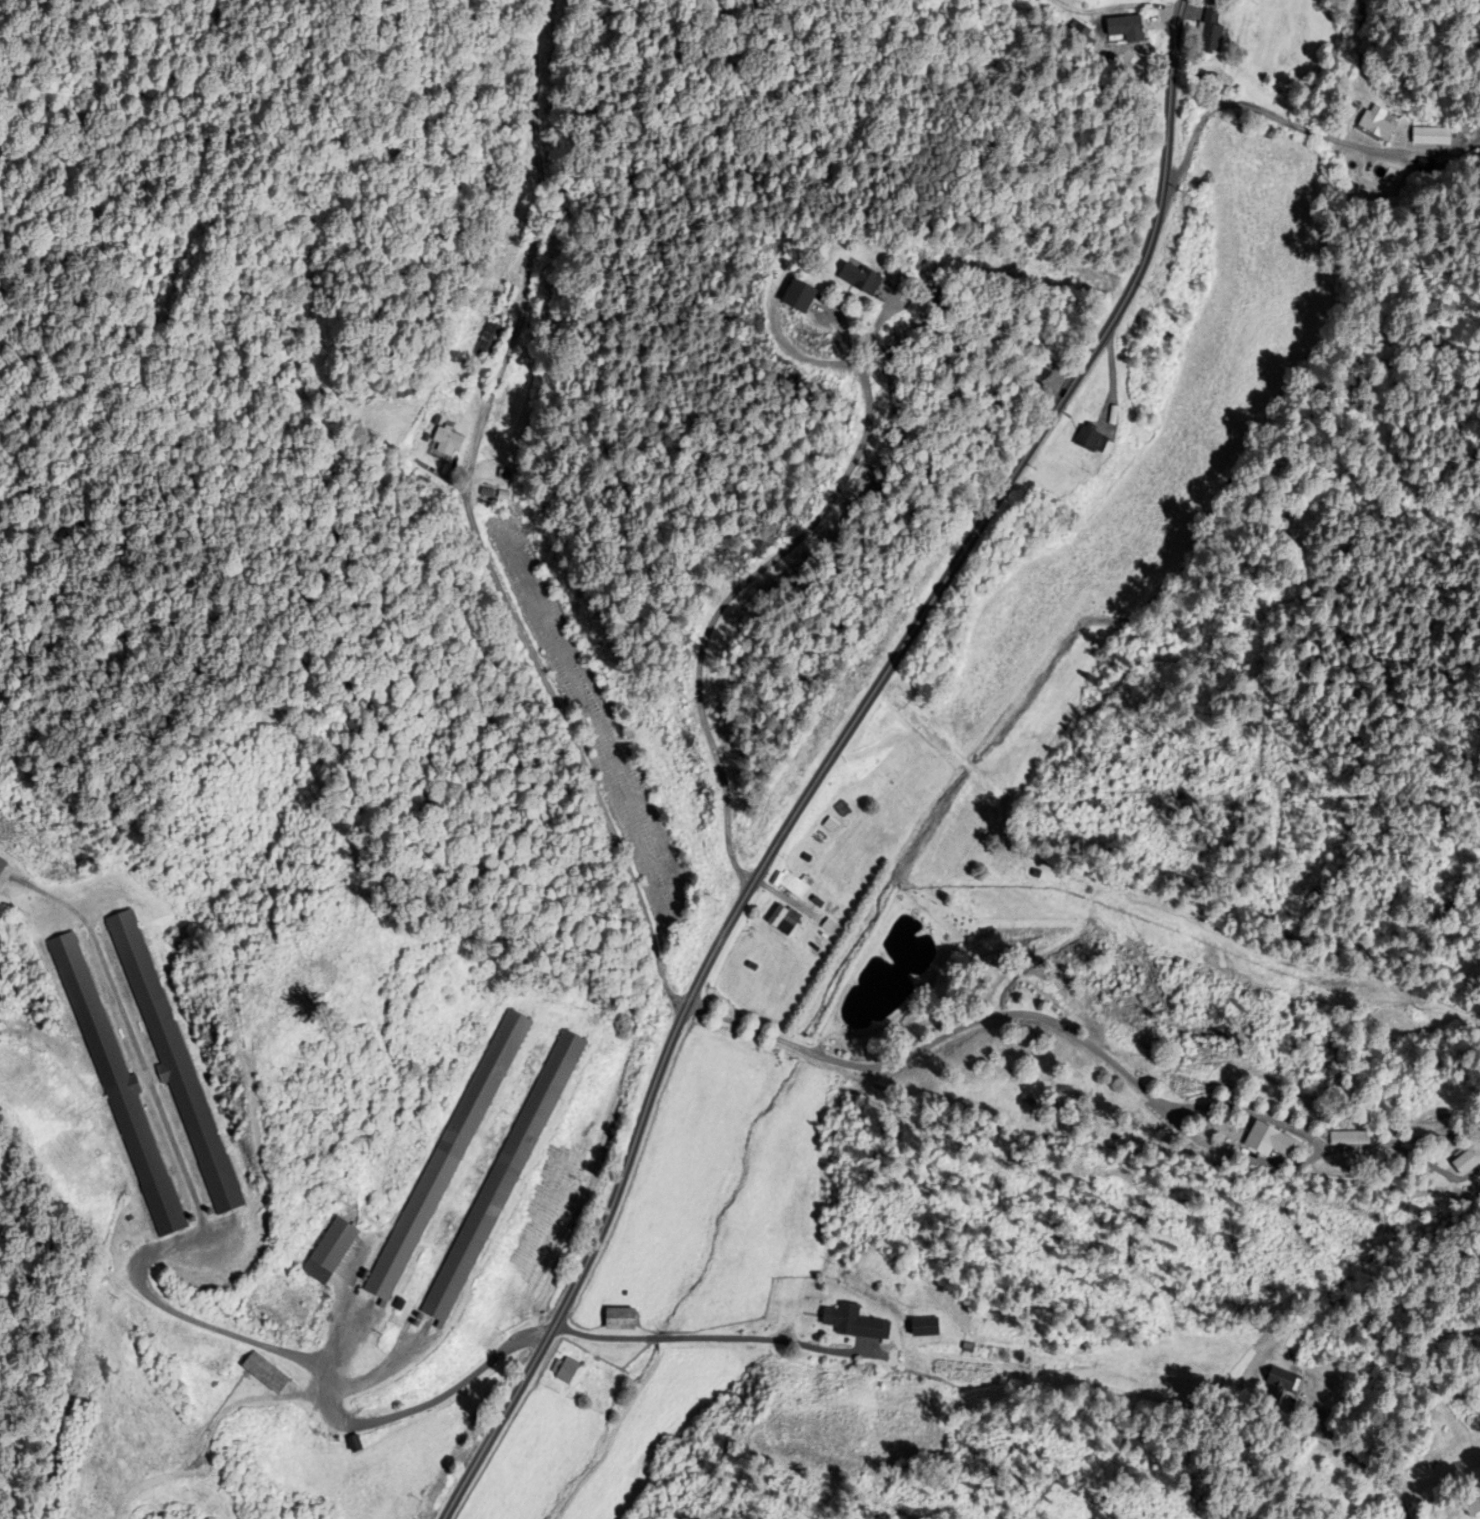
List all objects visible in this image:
building: (1133, 28)
building: (1213, 31)
road: (1267, 109)
building: (1382, 129)
building: (1432, 136)
road: (537, 161)
building: (862, 279)
building: (801, 297)
building: (490, 341)
building: (1042, 378)
road: (1112, 379)
building: (1093, 441)
building: (448, 443)
road: (743, 584)
road: (541, 668)
road: (828, 757)
building: (883, 778)
building: (796, 886)
building: (783, 920)
road: (980, 1020)
building: (171, 1053)
building: (123, 1100)
building: (1351, 1138)
building: (1271, 1142)
building: (448, 1158)
building: (1468, 1164)
building: (505, 1178)
building: (332, 1253)
building: (621, 1321)
building: (857, 1324)
building: (925, 1328)
road: (600, 1337)
road: (655, 1337)
road: (756, 1338)
road: (316, 1365)
building: (565, 1371)
building: (267, 1375)
building: (1283, 1387)
road: (1364, 1462)

